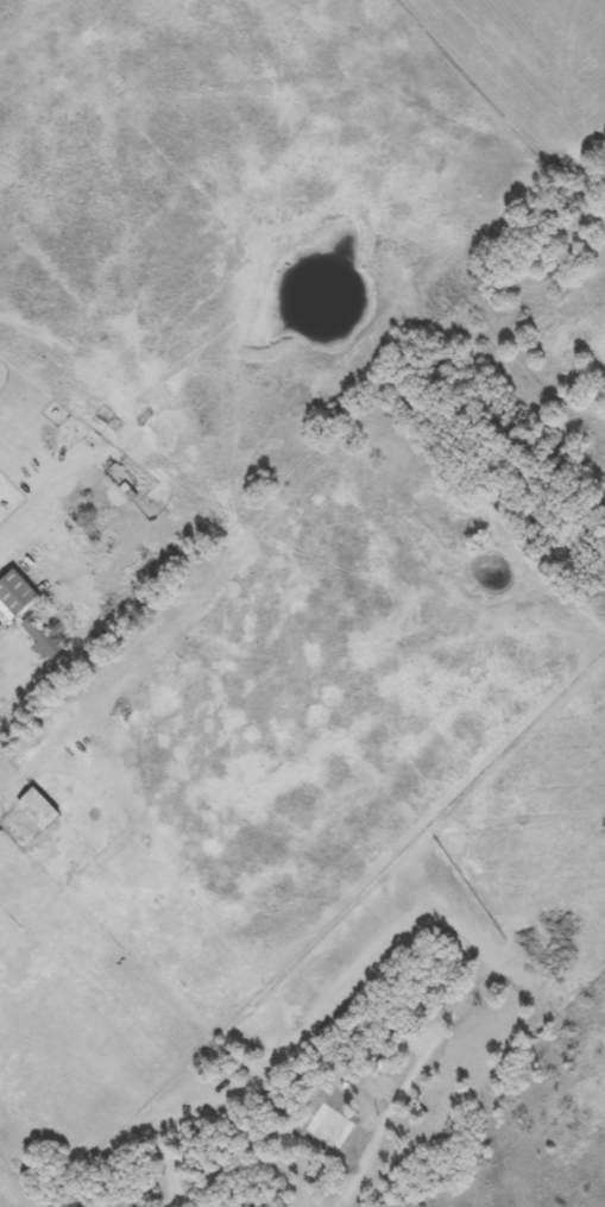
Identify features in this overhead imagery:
building: (18, 423)
building: (17, 592)
building: (42, 636)
building: (38, 807)
building: (402, 1076)
road: (358, 1163)

